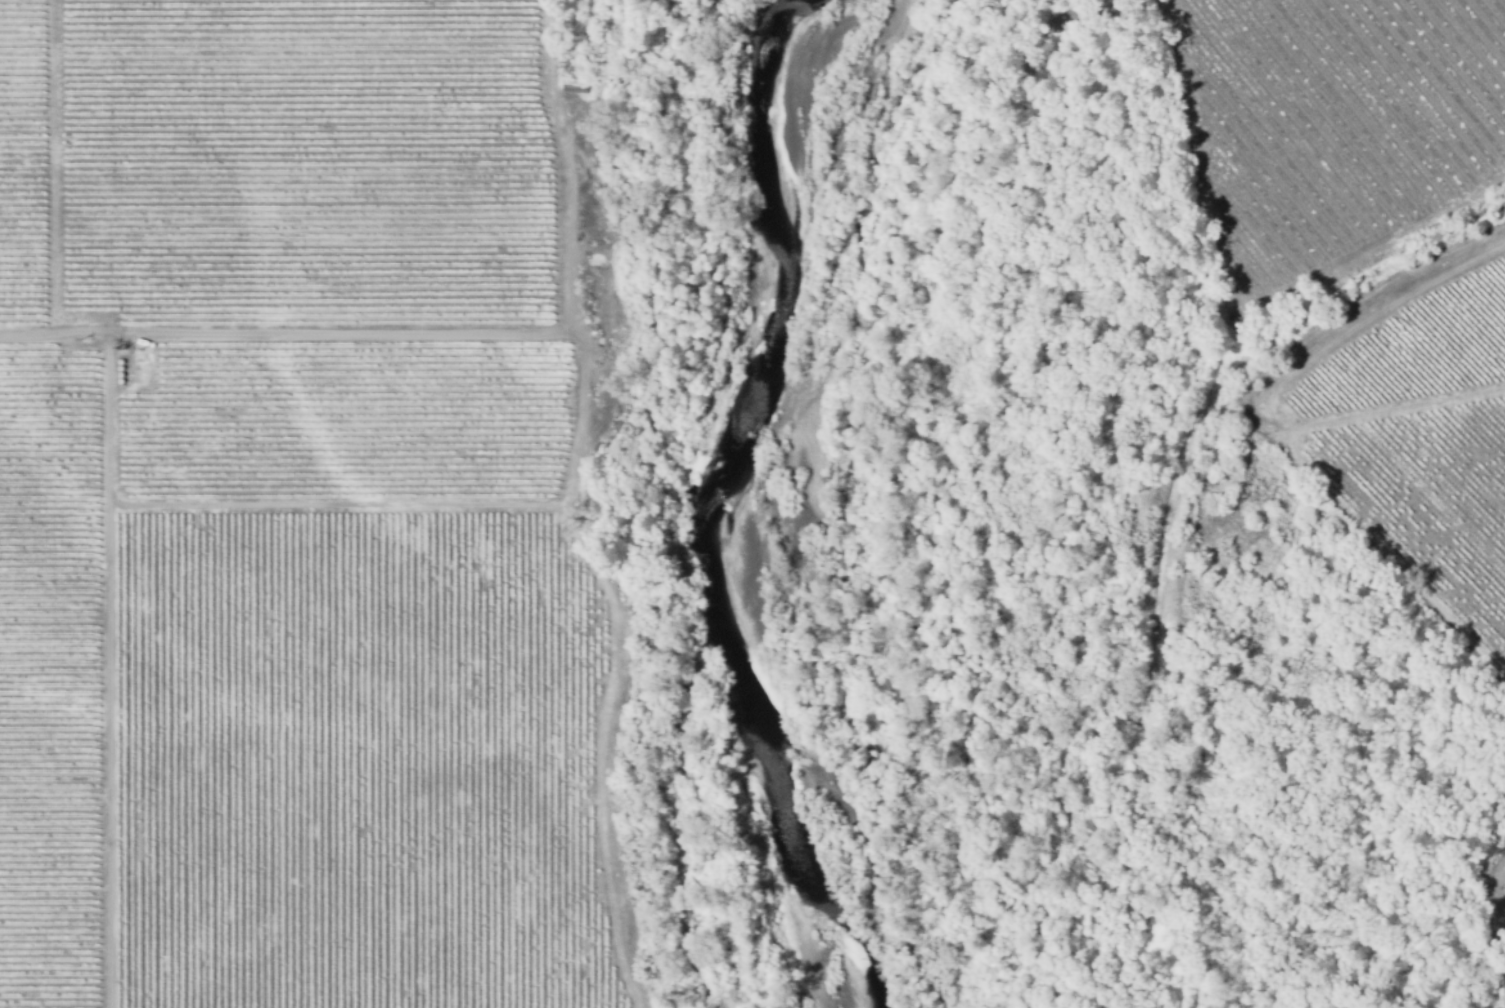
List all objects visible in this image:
road: (567, 164)
road: (284, 329)
river: (697, 496)
road: (108, 668)

